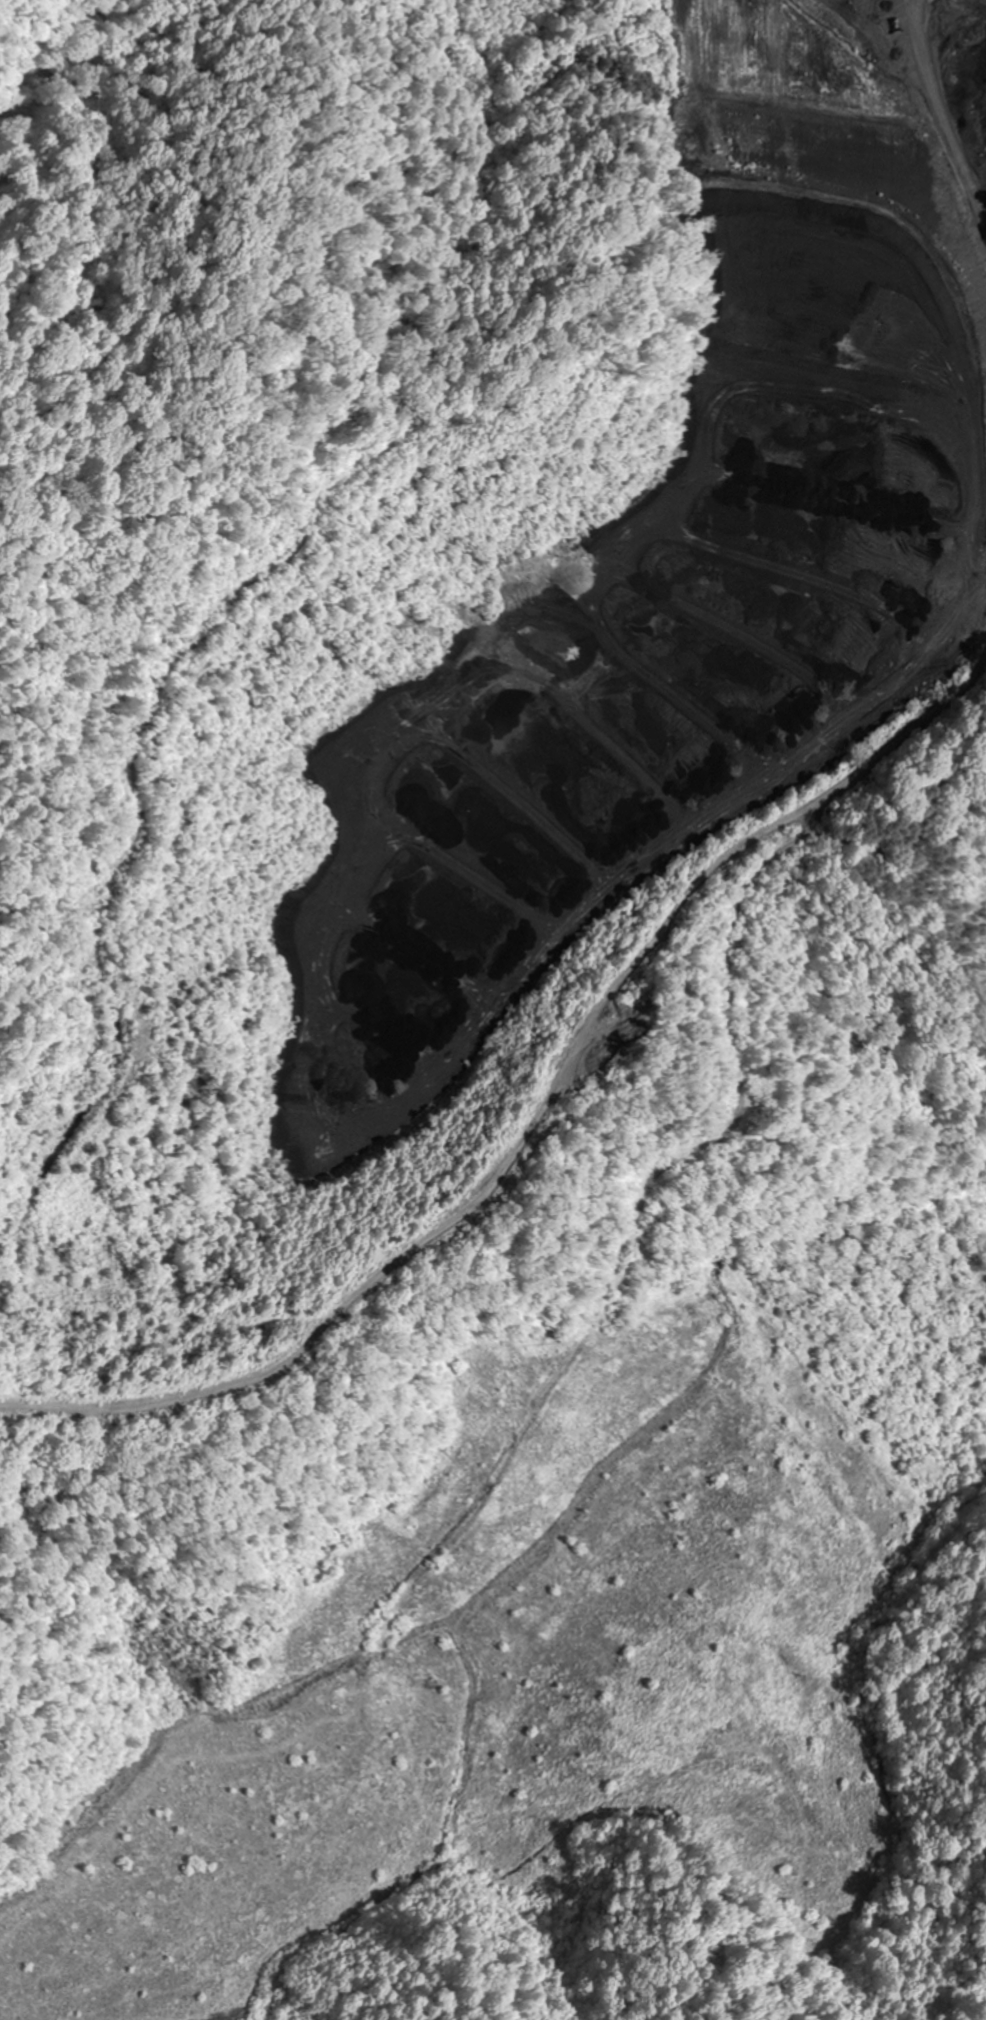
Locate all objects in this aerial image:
road: (938, 96)
road: (798, 815)
road: (911, 858)

